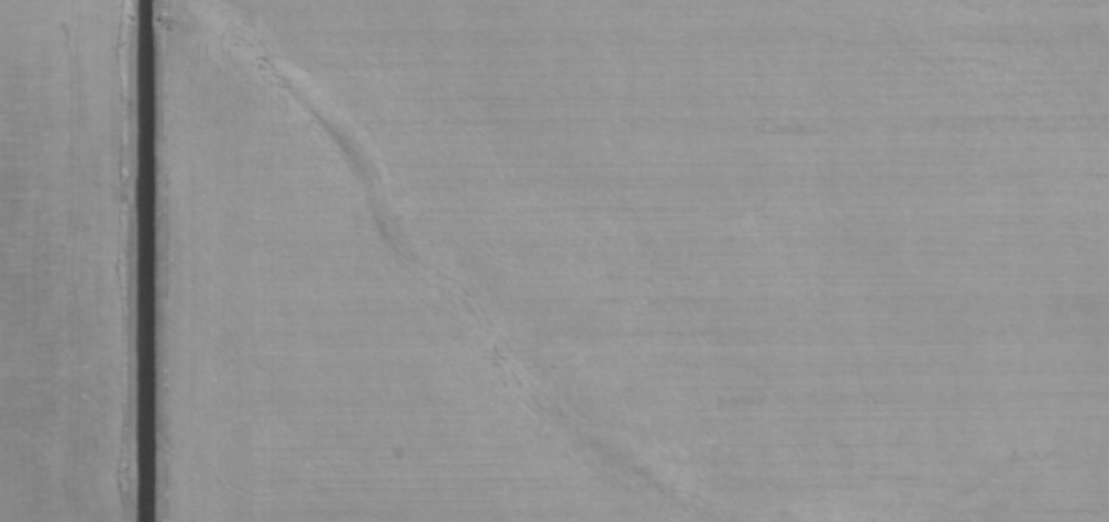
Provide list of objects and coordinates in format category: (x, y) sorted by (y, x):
road: (145, 260)

